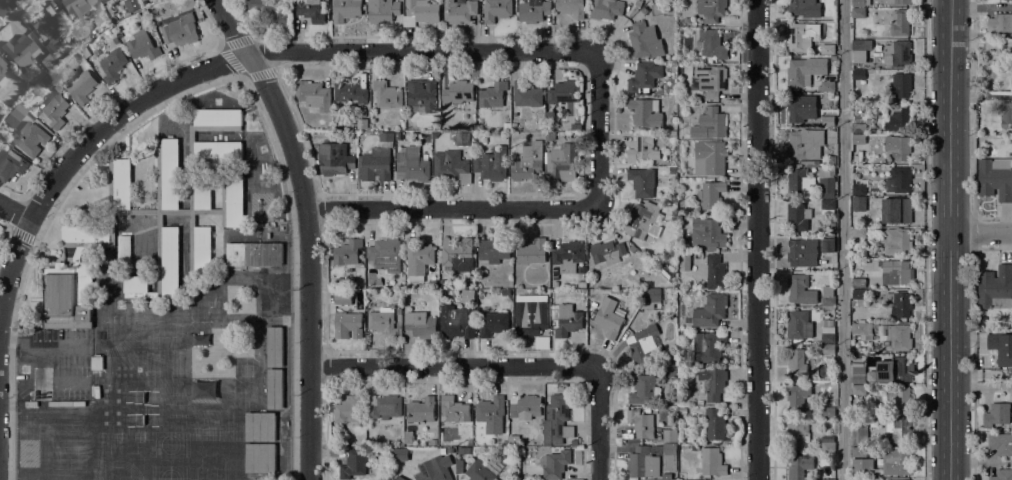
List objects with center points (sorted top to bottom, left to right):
building: (146, 0)
road: (1, 1)
building: (104, 1)
building: (899, 1)
building: (860, 3)
building: (132, 5)
building: (571, 7)
building: (797, 7)
building: (76, 8)
building: (311, 9)
building: (605, 9)
building: (711, 9)
building: (270, 10)
building: (345, 10)
building: (382, 10)
building: (496, 10)
building: (644, 10)
building: (459, 11)
building: (533, 11)
building: (633, 11)
building: (420, 12)
building: (858, 12)
building: (686, 20)
building: (900, 23)
building: (1000, 23)
building: (48, 25)
building: (180, 30)
building: (801, 36)
building: (115, 40)
building: (644, 40)
building: (710, 44)
building: (142, 46)
building: (827, 49)
road: (420, 50)
building: (859, 50)
building: (20, 51)
building: (84, 51)
building: (897, 53)
building: (47, 61)
road: (233, 62)
building: (674, 63)
building: (113, 65)
building: (2, 67)
building: (804, 71)
building: (858, 74)
building: (644, 77)
building: (713, 81)
building: (901, 85)
building: (81, 86)
building: (826, 86)
road: (192, 87)
building: (350, 92)
building: (458, 92)
building: (564, 92)
building: (386, 94)
building: (492, 94)
building: (526, 94)
building: (313, 95)
building: (421, 95)
building: (801, 108)
building: (56, 110)
building: (645, 112)
building: (401, 113)
building: (14, 115)
building: (1006, 115)
building: (217, 117)
building: (899, 118)
building: (672, 119)
building: (827, 121)
building: (436, 123)
building: (710, 124)
building: (859, 124)
building: (359, 125)
building: (506, 126)
building: (329, 127)
building: (428, 134)
building: (435, 134)
building: (672, 134)
building: (549, 136)
building: (30, 138)
building: (462, 138)
building: (858, 139)
road: (85, 141)
building: (804, 144)
building: (898, 147)
building: (218, 150)
building: (642, 150)
building: (710, 157)
building: (334, 158)
building: (856, 158)
building: (376, 160)
building: (527, 162)
building: (563, 162)
building: (492, 164)
building: (11, 165)
building: (412, 165)
building: (451, 167)
building: (672, 170)
building: (169, 174)
building: (995, 178)
building: (899, 180)
building: (642, 182)
building: (799, 182)
building: (825, 183)
building: (110, 184)
building: (122, 184)
building: (858, 190)
building: (711, 194)
building: (672, 196)
building: (203, 197)
building: (235, 201)
building: (858, 201)
building: (828, 204)
road: (520, 209)
road: (13, 211)
building: (898, 211)
building: (797, 217)
building: (644, 220)
building: (833, 226)
road: (307, 229)
building: (709, 232)
building: (859, 232)
road: (980, 232)
road: (21, 235)
building: (89, 236)
road: (843, 239)
road: (756, 240)
road: (924, 240)
road: (948, 240)
building: (828, 241)
building: (895, 241)
building: (124, 249)
building: (494, 249)
building: (456, 251)
building: (202, 252)
building: (348, 252)
building: (384, 252)
building: (532, 252)
building: (607, 252)
building: (802, 252)
building: (636, 253)
building: (77, 254)
building: (254, 254)
building: (569, 256)
building: (418, 258)
building: (684, 261)
building: (170, 262)
building: (581, 269)
building: (666, 270)
building: (715, 272)
building: (895, 272)
building: (344, 282)
building: (434, 283)
building: (582, 283)
building: (859, 283)
building: (136, 284)
building: (995, 288)
building: (800, 289)
building: (545, 293)
building: (275, 294)
building: (859, 294)
building: (826, 295)
building: (69, 296)
building: (342, 296)
building: (650, 298)
building: (827, 303)
building: (899, 303)
building: (710, 311)
building: (399, 314)
building: (608, 317)
building: (530, 318)
building: (566, 320)
building: (457, 321)
building: (384, 322)
building: (493, 323)
building: (348, 324)
building: (420, 324)
building: (799, 325)
building: (863, 330)
building: (828, 335)
building: (898, 336)
building: (275, 346)
building: (644, 346)
building: (708, 346)
building: (1001, 347)
building: (828, 349)
building: (97, 362)
building: (797, 362)
road: (452, 365)
building: (894, 369)
building: (669, 373)
building: (859, 375)
building: (713, 384)
building: (275, 388)
building: (644, 390)
building: (859, 390)
building: (798, 397)
building: (898, 399)
building: (384, 406)
building: (525, 407)
building: (349, 409)
building: (454, 409)
building: (421, 410)
building: (828, 412)
building: (491, 414)
building: (996, 414)
building: (558, 419)
building: (641, 423)
road: (598, 425)
building: (716, 425)
building: (260, 426)
building: (899, 429)
building: (798, 434)
building: (670, 435)
building: (859, 435)
building: (408, 437)
building: (513, 439)
building: (434, 442)
building: (469, 442)
building: (1001, 443)
building: (828, 446)
building: (450, 450)
building: (464, 450)
building: (443, 451)
building: (859, 452)
building: (400, 454)
building: (670, 457)
building: (260, 458)
building: (897, 461)
building: (712, 462)
building: (555, 463)
building: (643, 463)
building: (353, 464)
building: (459, 466)
building: (492, 466)
building: (799, 466)
building: (863, 467)
building: (434, 469)
building: (480, 472)
building: (1002, 475)
building: (400, 478)
building: (828, 479)
building: (862, 479)
building: (902, 479)

